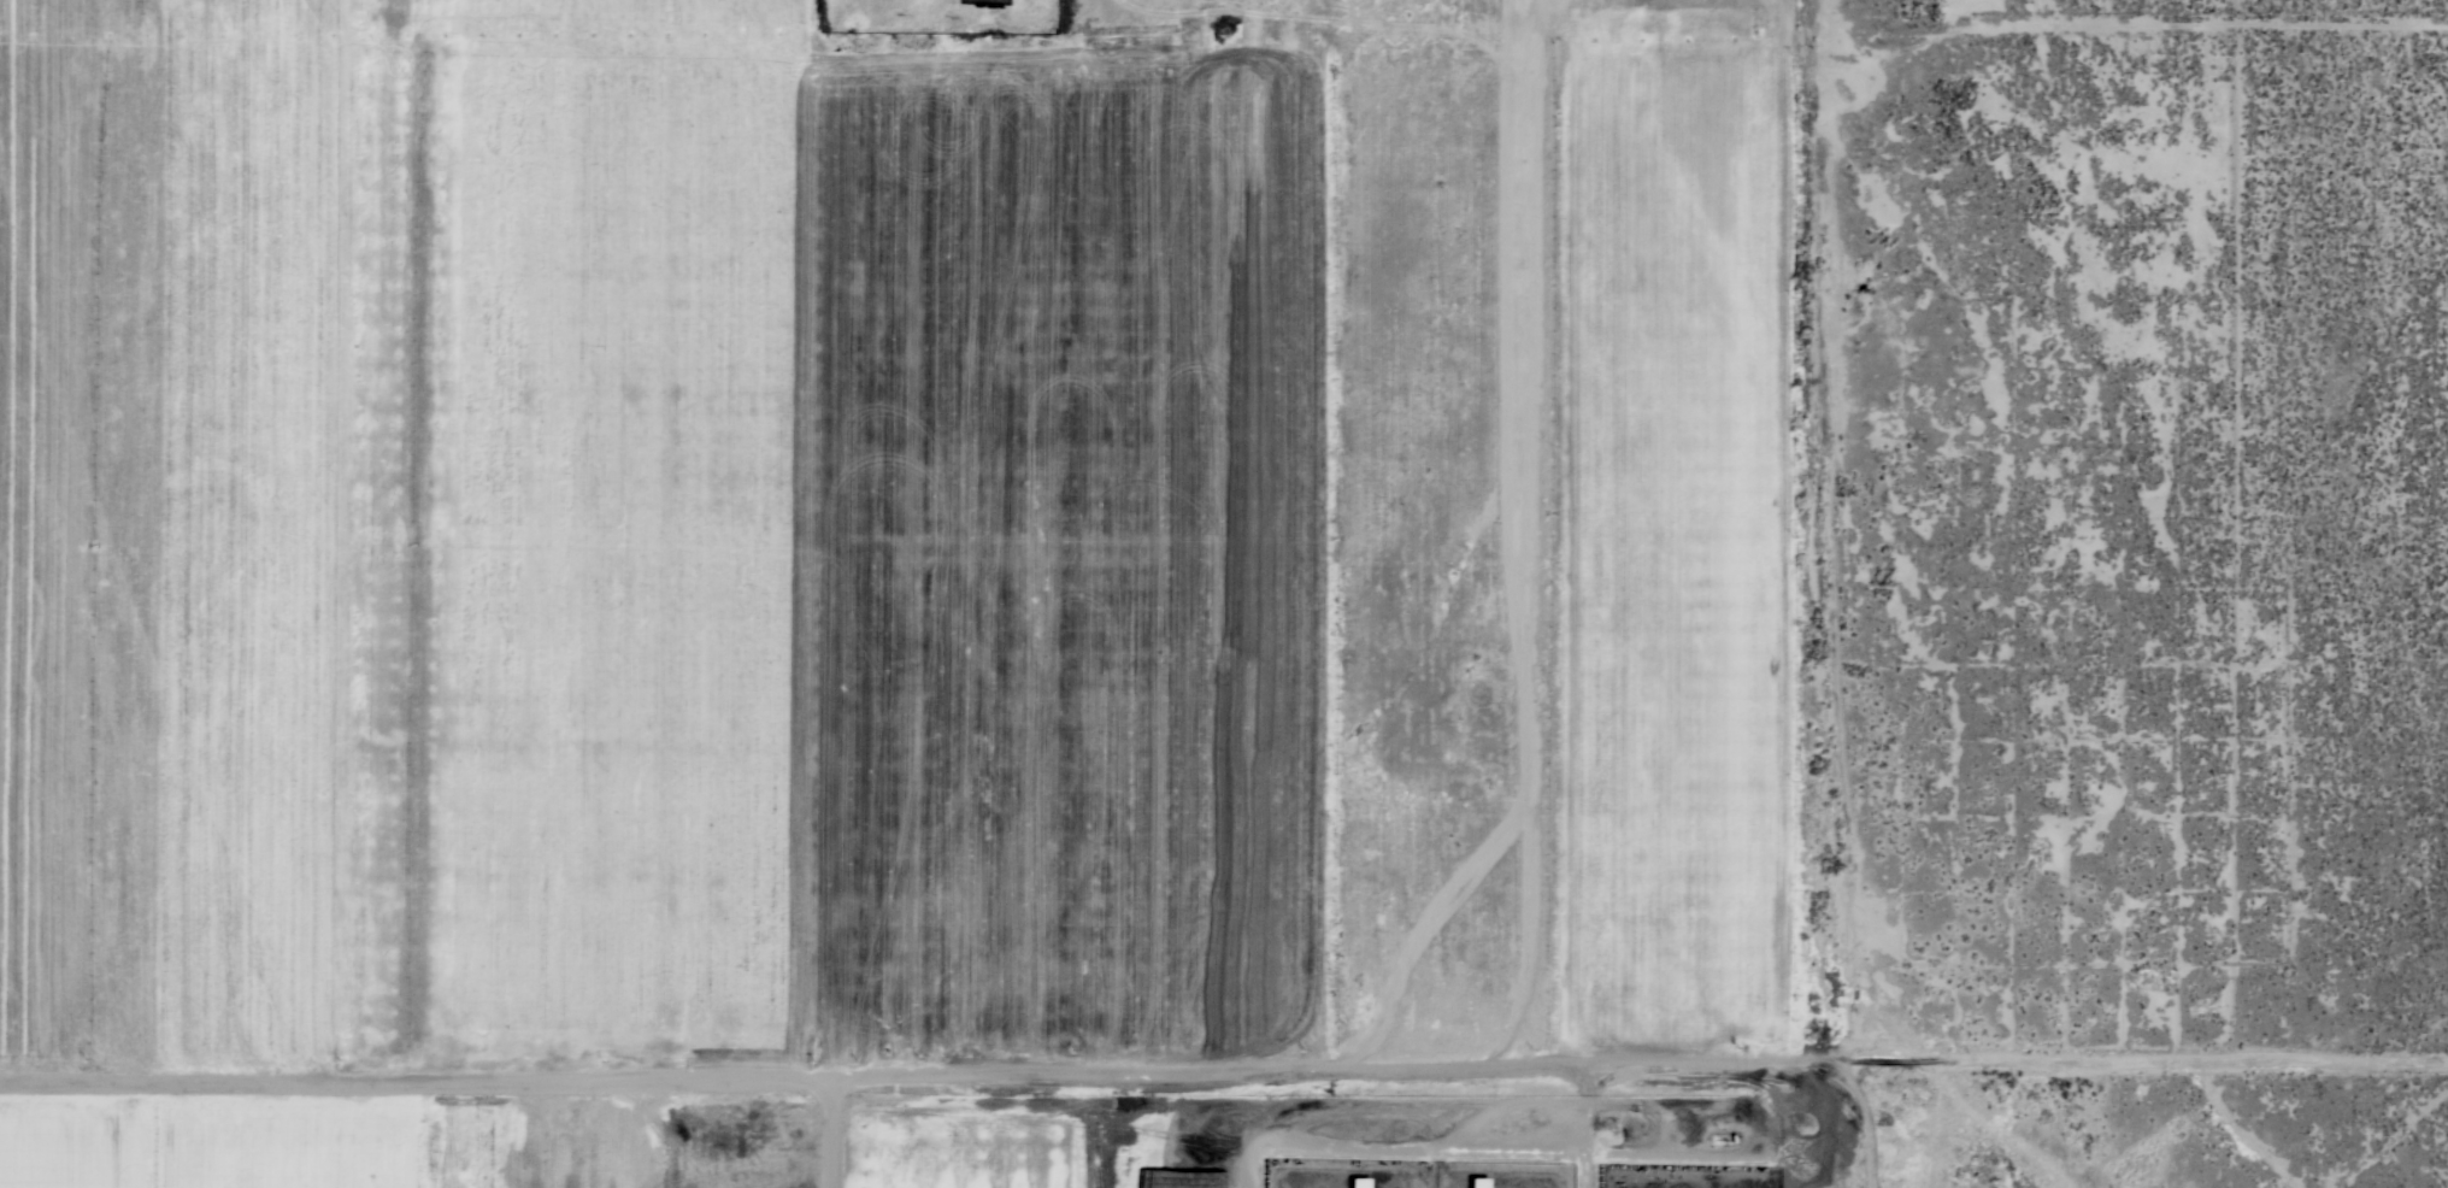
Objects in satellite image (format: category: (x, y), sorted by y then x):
crop: (649, 543)
crop: (1669, 561)
road: (2019, 1070)
road: (794, 1074)
road: (1401, 1107)
crop: (324, 1145)
road: (1584, 1146)
building: (1357, 1182)
building: (1477, 1182)

